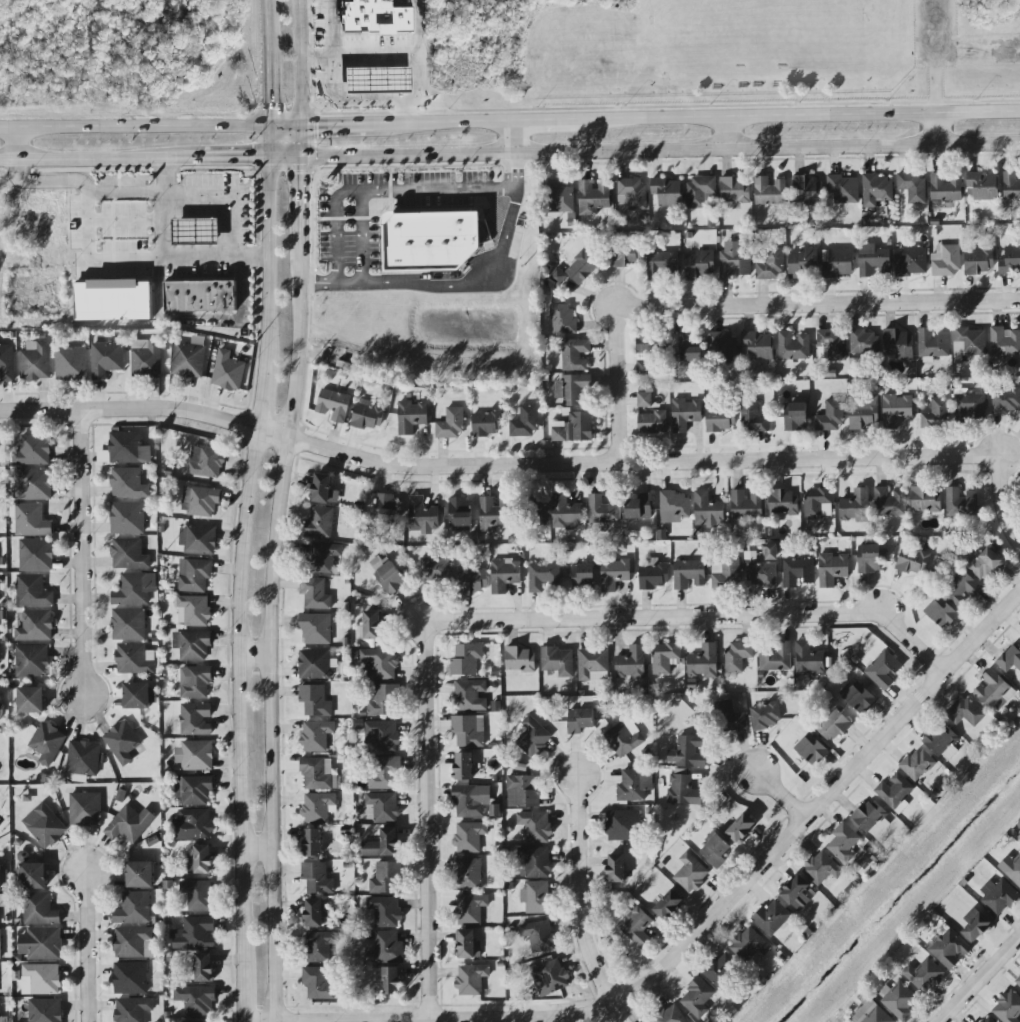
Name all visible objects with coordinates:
park: (999, 6)
park: (468, 16)
building: (375, 17)
road: (268, 28)
road: (329, 28)
road: (417, 31)
road: (392, 56)
road: (303, 61)
building: (377, 81)
road: (271, 89)
road: (932, 95)
traffic signals: (272, 109)
road: (797, 120)
road: (288, 123)
traffic signals: (318, 123)
road: (354, 123)
road: (459, 123)
road: (544, 123)
road: (136, 126)
road: (938, 131)
road: (733, 136)
road: (515, 139)
road: (273, 142)
road: (303, 142)
road: (13, 146)
road: (661, 152)
road: (232, 162)
traffic signals: (253, 162)
road: (81, 163)
road: (347, 167)
road: (285, 169)
road: (125, 170)
road: (516, 171)
traffic signals: (302, 174)
building: (1011, 185)
building: (983, 186)
road: (83, 187)
road: (441, 187)
building: (913, 187)
building: (945, 187)
road: (301, 189)
building: (844, 189)
building: (735, 190)
building: (875, 190)
building: (667, 191)
building: (770, 191)
building: (807, 191)
building: (633, 192)
building: (701, 192)
road: (225, 195)
building: (560, 197)
building: (593, 197)
road: (338, 224)
building: (196, 232)
road: (362, 235)
building: (430, 241)
road: (171, 255)
building: (625, 255)
road: (91, 258)
building: (734, 261)
building: (873, 261)
building: (945, 261)
building: (979, 261)
building: (1010, 261)
building: (911, 262)
building: (804, 263)
building: (838, 263)
road: (272, 264)
building: (771, 264)
building: (663, 266)
building: (699, 266)
building: (581, 268)
building: (556, 279)
road: (319, 280)
road: (351, 281)
road: (478, 282)
building: (200, 295)
building: (113, 301)
road: (742, 306)
building: (563, 319)
building: (863, 341)
building: (1004, 341)
building: (933, 343)
building: (898, 344)
building: (968, 344)
building: (831, 345)
building: (757, 346)
building: (721, 347)
building: (690, 348)
building: (792, 348)
building: (576, 354)
building: (644, 354)
building: (106, 358)
building: (146, 358)
building: (188, 360)
building: (35, 361)
building: (6, 363)
building: (71, 364)
building: (228, 371)
building: (572, 390)
road: (262, 399)
building: (644, 400)
building: (1006, 400)
building: (333, 405)
road: (129, 407)
building: (969, 407)
building: (896, 410)
building: (863, 412)
building: (685, 414)
building: (935, 414)
building: (368, 415)
building: (795, 416)
building: (411, 417)
building: (830, 417)
building: (753, 418)
building: (720, 419)
building: (652, 422)
building: (486, 423)
building: (524, 423)
building: (450, 424)
building: (573, 428)
building: (128, 448)
building: (33, 451)
building: (206, 461)
road: (628, 463)
building: (128, 483)
building: (33, 484)
building: (323, 489)
road: (1007, 499)
building: (926, 500)
building: (200, 501)
building: (784, 502)
building: (816, 502)
building: (889, 502)
building: (961, 502)
building: (746, 505)
building: (856, 506)
building: (639, 507)
building: (674, 507)
building: (386, 509)
building: (603, 509)
building: (707, 509)
building: (538, 510)
building: (565, 513)
building: (459, 514)
building: (493, 514)
building: (423, 517)
building: (127, 518)
building: (30, 520)
building: (320, 523)
building: (198, 539)
road: (91, 548)
building: (771, 551)
building: (128, 554)
building: (35, 555)
building: (323, 557)
building: (869, 559)
building: (913, 561)
building: (985, 564)
building: (832, 569)
building: (434, 570)
building: (798, 572)
building: (386, 574)
building: (614, 574)
building: (653, 574)
building: (689, 574)
building: (761, 574)
building: (194, 575)
building: (504, 575)
building: (583, 575)
building: (543, 576)
building: (472, 582)
building: (135, 589)
building: (961, 589)
building: (32, 591)
building: (315, 593)
building: (193, 611)
building: (941, 612)
road: (696, 614)
road: (269, 618)
building: (128, 624)
building: (371, 625)
building: (35, 626)
building: (315, 628)
building: (192, 645)
road: (255, 654)
building: (738, 656)
building: (664, 657)
building: (776, 657)
building: (134, 659)
building: (466, 659)
building: (519, 660)
building: (809, 660)
building: (32, 661)
building: (558, 661)
building: (704, 662)
building: (380, 663)
building: (631, 663)
building: (593, 664)
building: (314, 665)
building: (884, 670)
building: (195, 682)
building: (993, 691)
building: (470, 695)
building: (139, 696)
road: (243, 697)
building: (859, 698)
building: (31, 700)
building: (380, 700)
building: (315, 701)
building: (1, 702)
building: (965, 712)
building: (766, 715)
building: (729, 717)
building: (196, 719)
building: (580, 720)
building: (833, 725)
building: (468, 731)
building: (380, 735)
building: (316, 736)
building: (531, 737)
building: (624, 740)
building: (122, 742)
building: (942, 742)
building: (47, 743)
building: (812, 750)
building: (687, 752)
building: (194, 756)
building: (83, 760)
building: (918, 764)
building: (463, 766)
building: (384, 772)
building: (317, 774)
building: (634, 785)
building: (194, 790)
building: (683, 791)
building: (522, 792)
building: (895, 793)
road: (779, 797)
building: (470, 800)
building: (383, 806)
building: (318, 807)
building: (85, 809)
building: (872, 817)
road: (429, 820)
building: (129, 824)
building: (193, 824)
building: (622, 825)
building: (44, 826)
building: (535, 827)
building: (741, 828)
building: (469, 837)
building: (312, 842)
building: (843, 842)
building: (382, 845)
road: (260, 848)
building: (716, 851)
building: (200, 860)
building: (534, 863)
building: (616, 868)
building: (821, 868)
building: (1014, 871)
building: (690, 873)
building: (139, 874)
building: (468, 874)
building: (33, 876)
building: (0, 877)
building: (316, 878)
building: (385, 878)
road: (583, 891)
building: (796, 893)
building: (194, 896)
building: (535, 897)
building: (999, 897)
building: (2, 900)
building: (668, 904)
building: (133, 908)
building: (471, 909)
building: (40, 910)
building: (385, 911)
building: (314, 913)
building: (771, 918)
building: (975, 925)
building: (636, 927)
building: (196, 934)
building: (539, 936)
road: (695, 939)
road: (88, 942)
building: (133, 943)
building: (41, 944)
building: (468, 945)
building: (0, 946)
building: (318, 947)
building: (750, 947)
building: (388, 948)
building: (950, 948)
building: (204, 967)
building: (722, 971)
building: (924, 975)
building: (549, 977)
building: (130, 978)
building: (41, 979)
building: (471, 979)
building: (389, 981)
building: (1018, 981)
building: (317, 983)
road: (983, 983)
road: (245, 993)
building: (697, 998)
building: (196, 999)
building: (898, 1000)
building: (1008, 1007)
building: (132, 1009)
building: (45, 1010)
building: (871, 1014)
building: (670, 1015)
building: (985, 1019)
building: (199, 1021)
building: (643, 1021)

